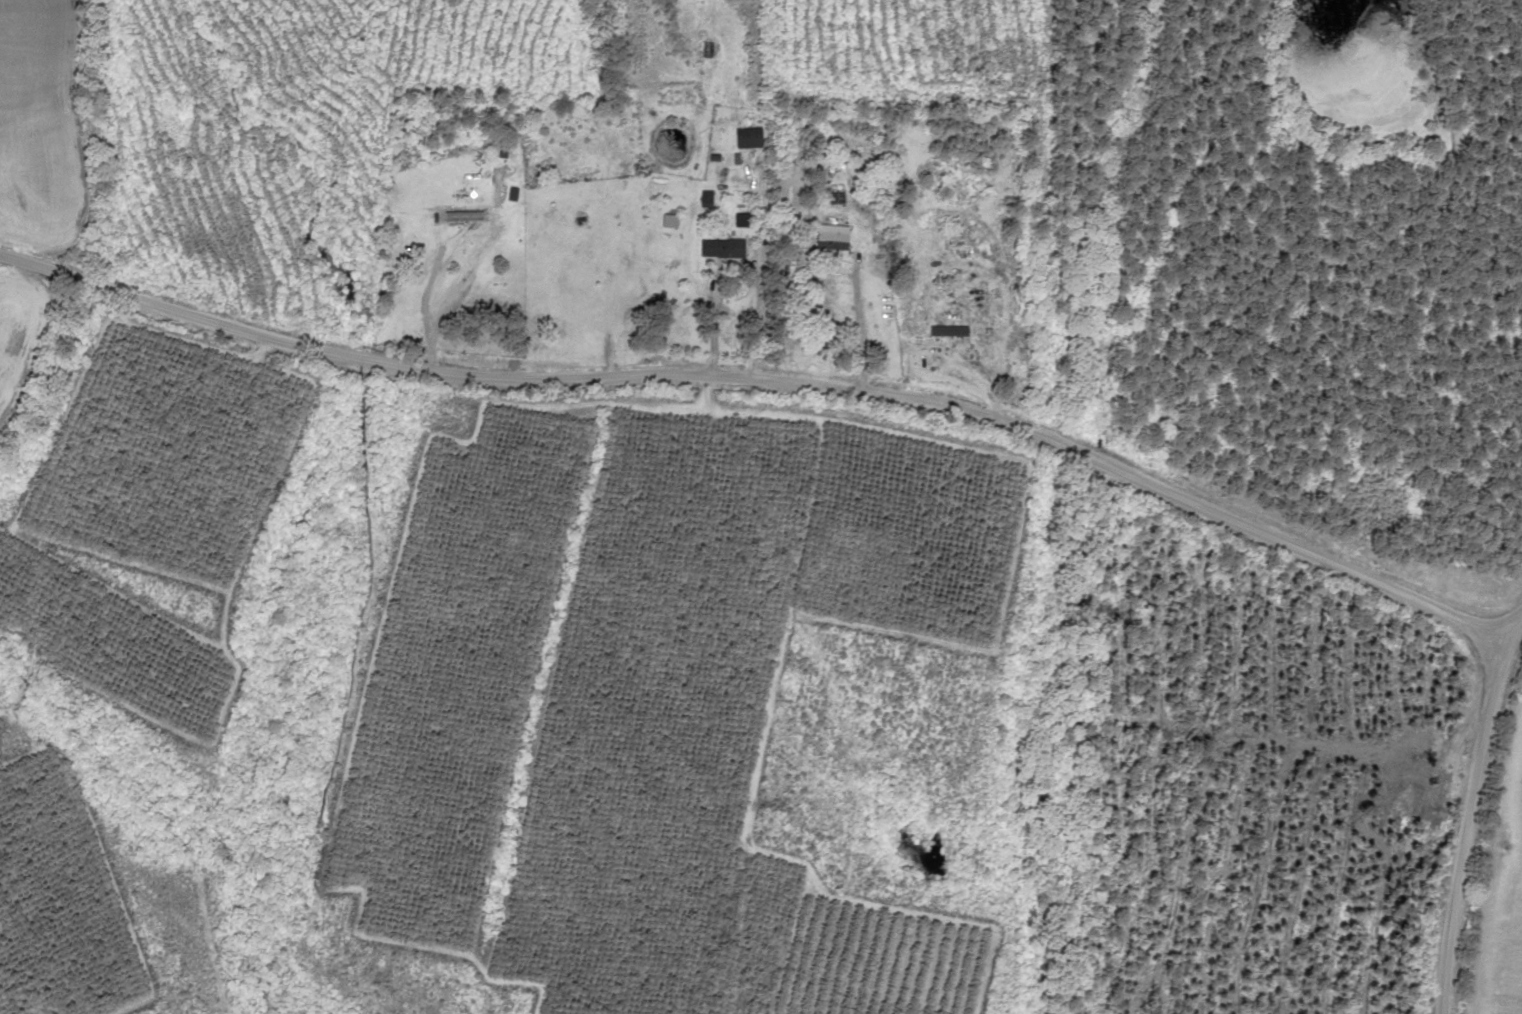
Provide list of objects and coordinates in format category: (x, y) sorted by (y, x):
building: (705, 50)
building: (744, 138)
building: (864, 217)
building: (827, 244)
building: (710, 248)
building: (945, 332)
road: (775, 377)
road: (1465, 811)

